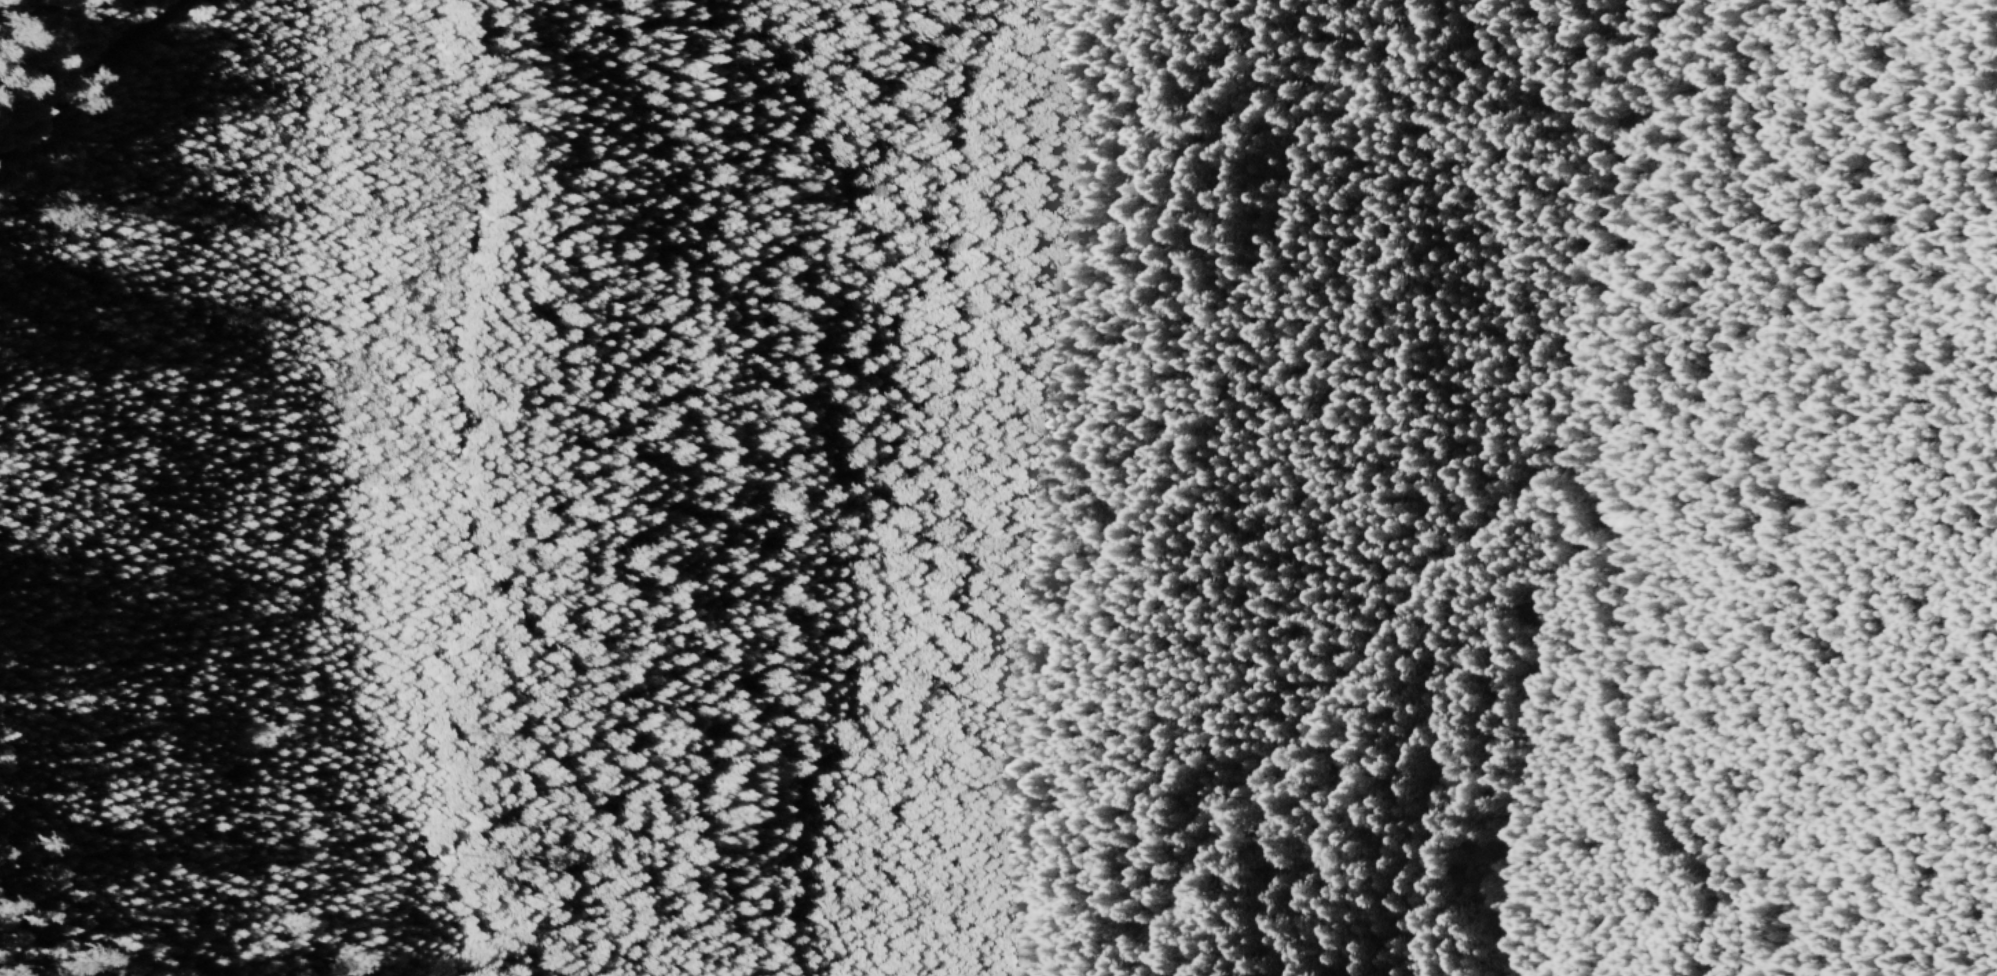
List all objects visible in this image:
road: (86, 71)

